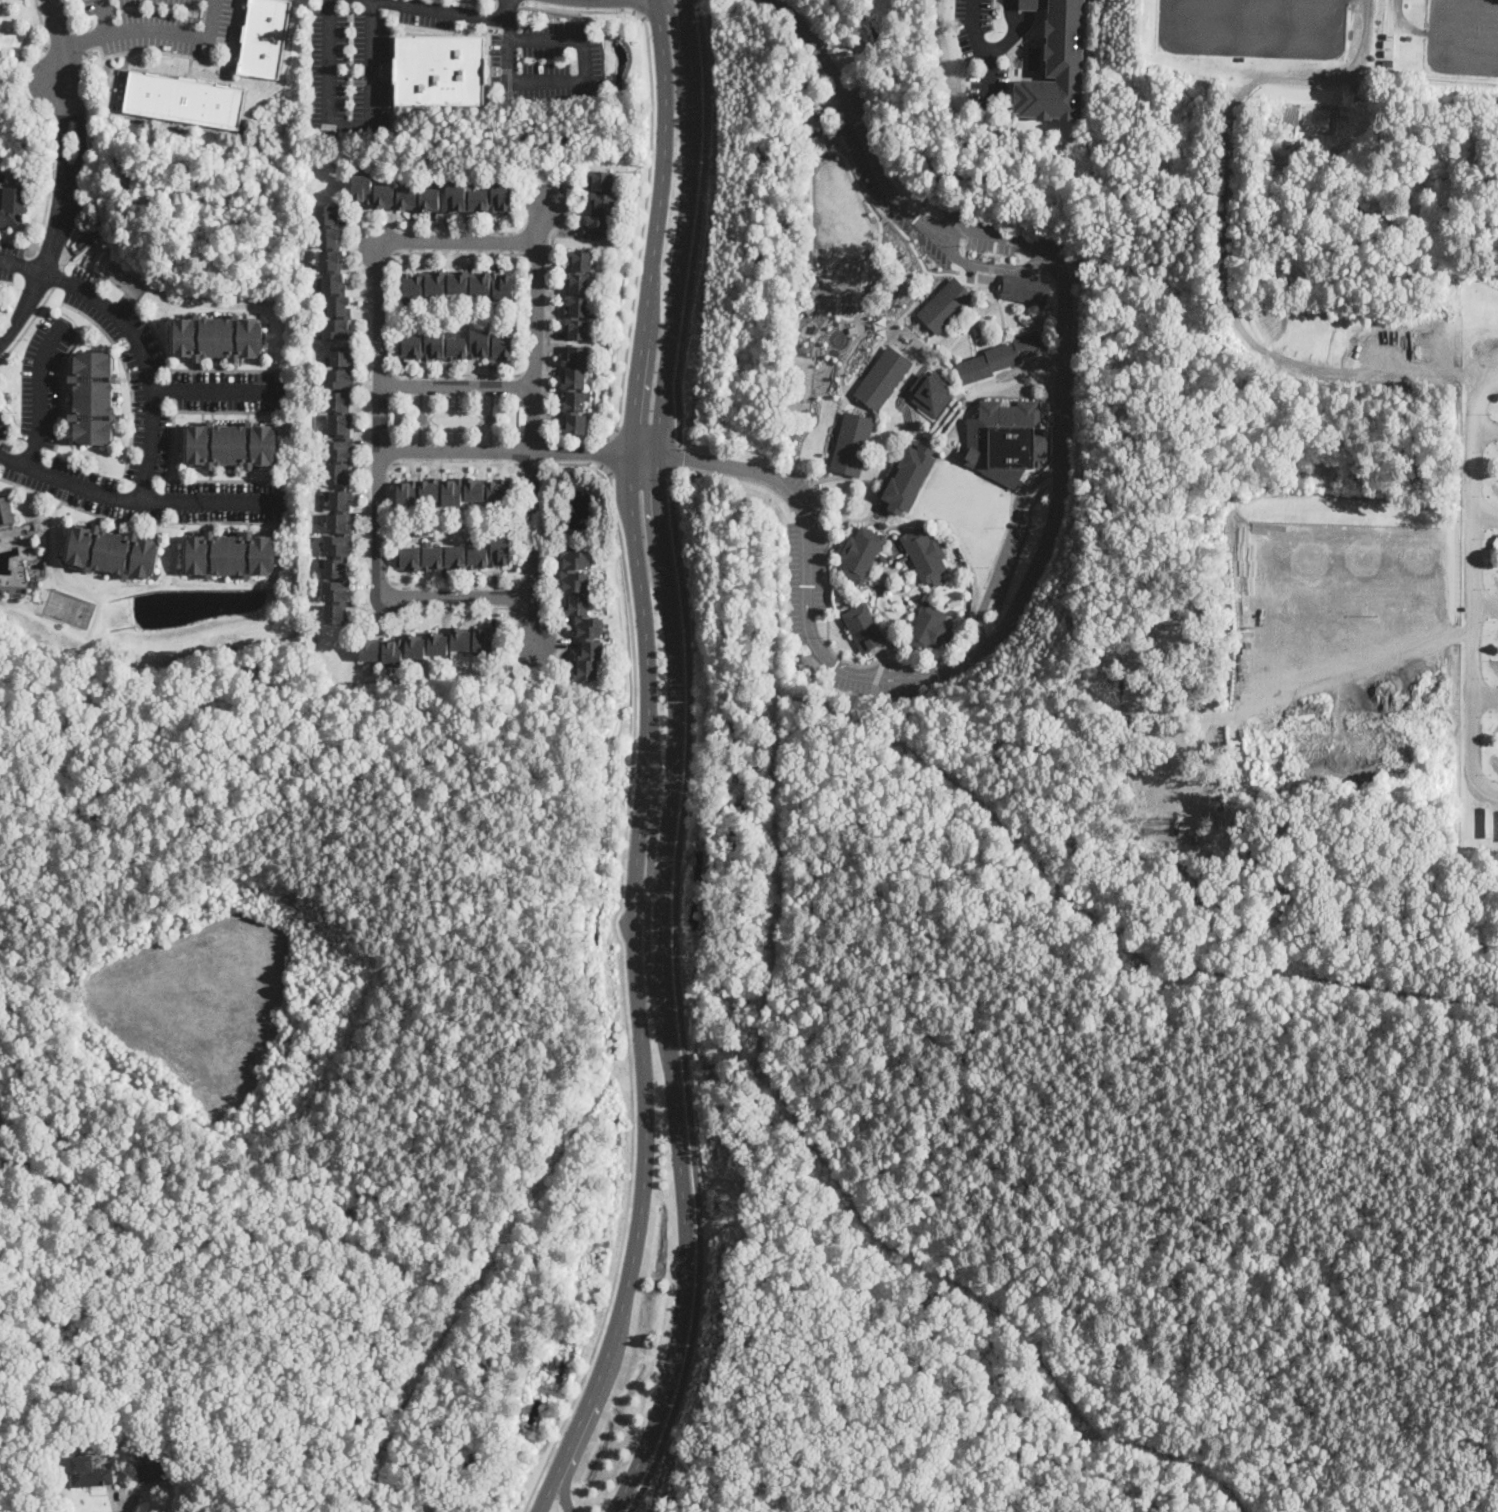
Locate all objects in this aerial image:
road: (516, 0)
road: (634, 5)
building: (1028, 5)
road: (506, 10)
road: (454, 11)
parking lot: (428, 13)
road: (1024, 16)
road: (1366, 18)
road: (42, 24)
parking lot: (162, 24)
road: (161, 28)
road: (970, 31)
building: (1389, 35)
building: (264, 37)
road: (83, 38)
road: (230, 39)
parking lot: (989, 43)
building: (1388, 44)
road: (60, 46)
road: (153, 50)
road: (995, 50)
building: (1388, 54)
parking lot: (547, 61)
building: (1387, 63)
building: (1057, 66)
parking lot: (348, 69)
building: (440, 69)
road: (679, 69)
road: (584, 83)
building: (185, 99)
road: (349, 122)
building: (1, 163)
road: (649, 169)
building: (22, 177)
road: (47, 195)
building: (393, 196)
building: (478, 199)
building: (599, 206)
building: (12, 207)
road: (698, 222)
road: (60, 225)
road: (461, 243)
building: (330, 250)
road: (460, 252)
road: (539, 253)
parking lot: (9, 259)
building: (101, 259)
road: (381, 261)
road: (984, 263)
building: (456, 283)
building: (1034, 290)
building: (578, 294)
building: (946, 306)
building: (798, 312)
building: (337, 319)
road: (28, 324)
road: (549, 332)
building: (217, 338)
road: (136, 341)
building: (456, 346)
building: (1000, 358)
parking lot: (130, 368)
road: (380, 373)
road: (457, 374)
road: (533, 375)
building: (883, 379)
parking lot: (42, 380)
road: (457, 386)
building: (574, 389)
parking lot: (224, 390)
road: (216, 392)
road: (40, 393)
building: (932, 393)
building: (92, 398)
road: (1478, 401)
building: (339, 413)
road: (380, 418)
road: (534, 423)
road: (1484, 427)
parking lot: (2, 430)
road: (648, 434)
road: (367, 439)
building: (1006, 440)
building: (852, 444)
building: (230, 445)
road: (519, 450)
road: (545, 450)
road: (606, 451)
road: (678, 456)
road: (379, 462)
road: (456, 463)
road: (531, 463)
road: (641, 471)
road: (740, 476)
building: (906, 477)
building: (453, 491)
parking lot: (145, 492)
road: (1056, 500)
road: (136, 501)
building: (6, 511)
road: (1485, 512)
road: (1003, 548)
building: (112, 552)
building: (925, 554)
building: (229, 555)
building: (860, 555)
building: (455, 556)
building: (337, 557)
road: (544, 576)
road: (378, 582)
road: (454, 583)
road: (530, 583)
road: (456, 596)
building: (954, 602)
road: (1485, 604)
park: (69, 607)
building: (581, 610)
road: (1472, 618)
building: (864, 628)
building: (926, 628)
building: (896, 642)
building: (428, 645)
road: (1355, 663)
road: (1485, 698)
building: (1297, 759)
road: (674, 761)
road: (646, 763)
road: (652, 846)
road: (647, 939)
road: (620, 963)
road: (680, 995)
building: (200, 1447)
road: (580, 1447)
building: (56, 1452)
building: (158, 1471)
building: (92, 1477)
road: (124, 1500)

